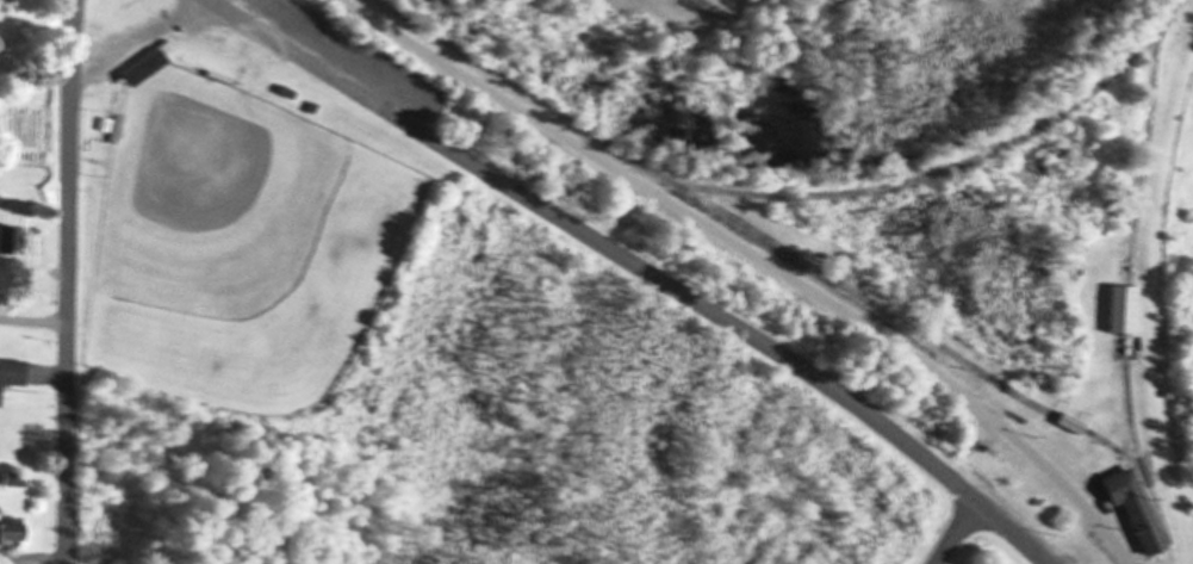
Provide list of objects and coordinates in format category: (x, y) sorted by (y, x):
building: (5, 4)
building: (147, 69)
building: (108, 128)
road: (595, 237)
building: (13, 242)
road: (751, 258)
road: (66, 281)
road: (1147, 292)
building: (1121, 311)
road: (33, 320)
building: (12, 377)
building: (1070, 424)
building: (1137, 512)
road: (1007, 531)
road: (951, 532)
building: (14, 534)

